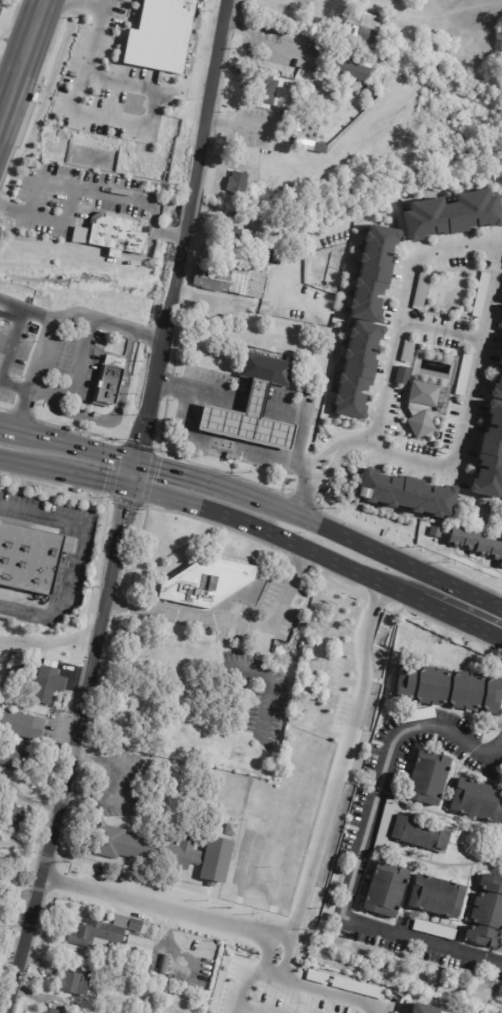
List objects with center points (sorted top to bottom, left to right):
road: (93, 6)
building: (367, 24)
building: (162, 37)
road: (262, 37)
building: (318, 48)
road: (24, 52)
building: (347, 67)
railway: (24, 68)
road: (8, 71)
building: (373, 75)
building: (274, 90)
road: (209, 95)
road: (3, 112)
road: (111, 120)
building: (310, 145)
building: (236, 182)
road: (71, 198)
road: (188, 209)
building: (450, 215)
road: (153, 218)
road: (334, 225)
building: (117, 234)
road: (166, 234)
building: (233, 234)
road: (180, 237)
road: (79, 246)
building: (373, 273)
building: (232, 275)
building: (420, 290)
building: (480, 293)
road: (403, 310)
road: (80, 319)
road: (445, 331)
building: (265, 367)
building: (355, 369)
road: (33, 373)
building: (462, 374)
building: (401, 375)
building: (497, 376)
road: (76, 377)
building: (111, 382)
road: (14, 386)
building: (309, 390)
road: (194, 391)
road: (251, 405)
building: (420, 408)
road: (288, 414)
building: (245, 418)
road: (1, 426)
road: (468, 426)
road: (195, 440)
road: (340, 440)
road: (360, 441)
road: (69, 444)
road: (304, 445)
road: (344, 446)
building: (489, 452)
road: (316, 455)
traffic signals: (136, 461)
road: (281, 464)
road: (33, 465)
road: (328, 467)
road: (181, 472)
road: (98, 479)
traffic signals: (130, 487)
road: (304, 495)
building: (412, 500)
road: (38, 516)
building: (434, 532)
road: (275, 534)
building: (474, 544)
road: (364, 547)
building: (32, 558)
building: (205, 583)
road: (65, 597)
parking lot: (282, 602)
road: (447, 616)
road: (101, 622)
road: (229, 623)
road: (491, 628)
road: (491, 635)
road: (265, 679)
building: (50, 685)
building: (447, 689)
building: (9, 692)
parking lot: (259, 693)
building: (22, 725)
building: (18, 759)
road: (337, 777)
building: (424, 779)
building: (475, 801)
building: (13, 815)
building: (384, 822)
building: (228, 830)
building: (415, 834)
road: (357, 850)
power tower: (16, 851)
building: (161, 851)
building: (1, 856)
building: (382, 890)
building: (433, 896)
road: (147, 906)
building: (483, 912)
building: (433, 929)
building: (112, 936)
road: (261, 953)
building: (109, 961)
building: (164, 964)
building: (316, 976)
road: (241, 980)
building: (74, 981)
building: (357, 987)
road: (323, 991)
road: (317, 1001)
building: (58, 1008)
road: (248, 1008)
building: (99, 1009)
building: (417, 1009)
building: (217, 1012)

